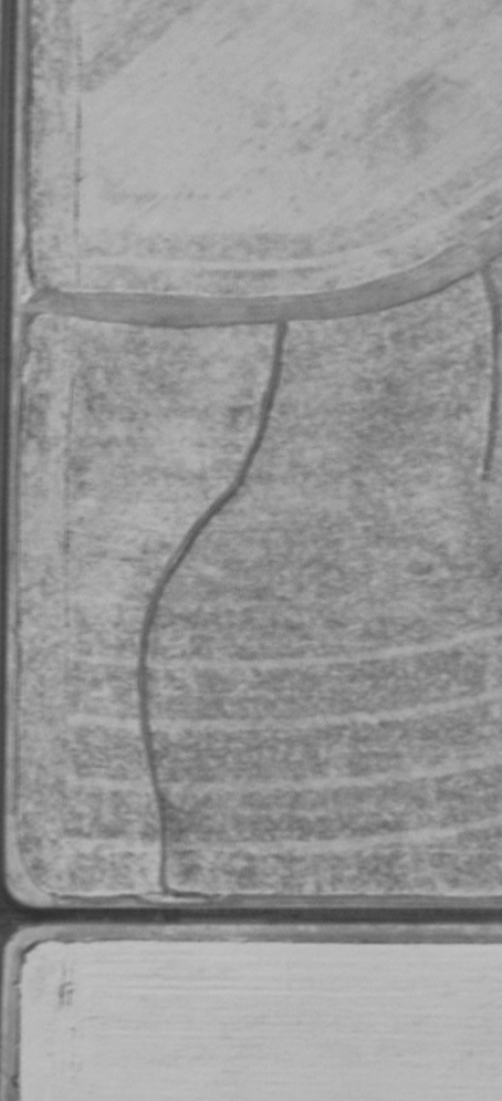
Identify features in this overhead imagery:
road: (2, 201)
road: (251, 915)

